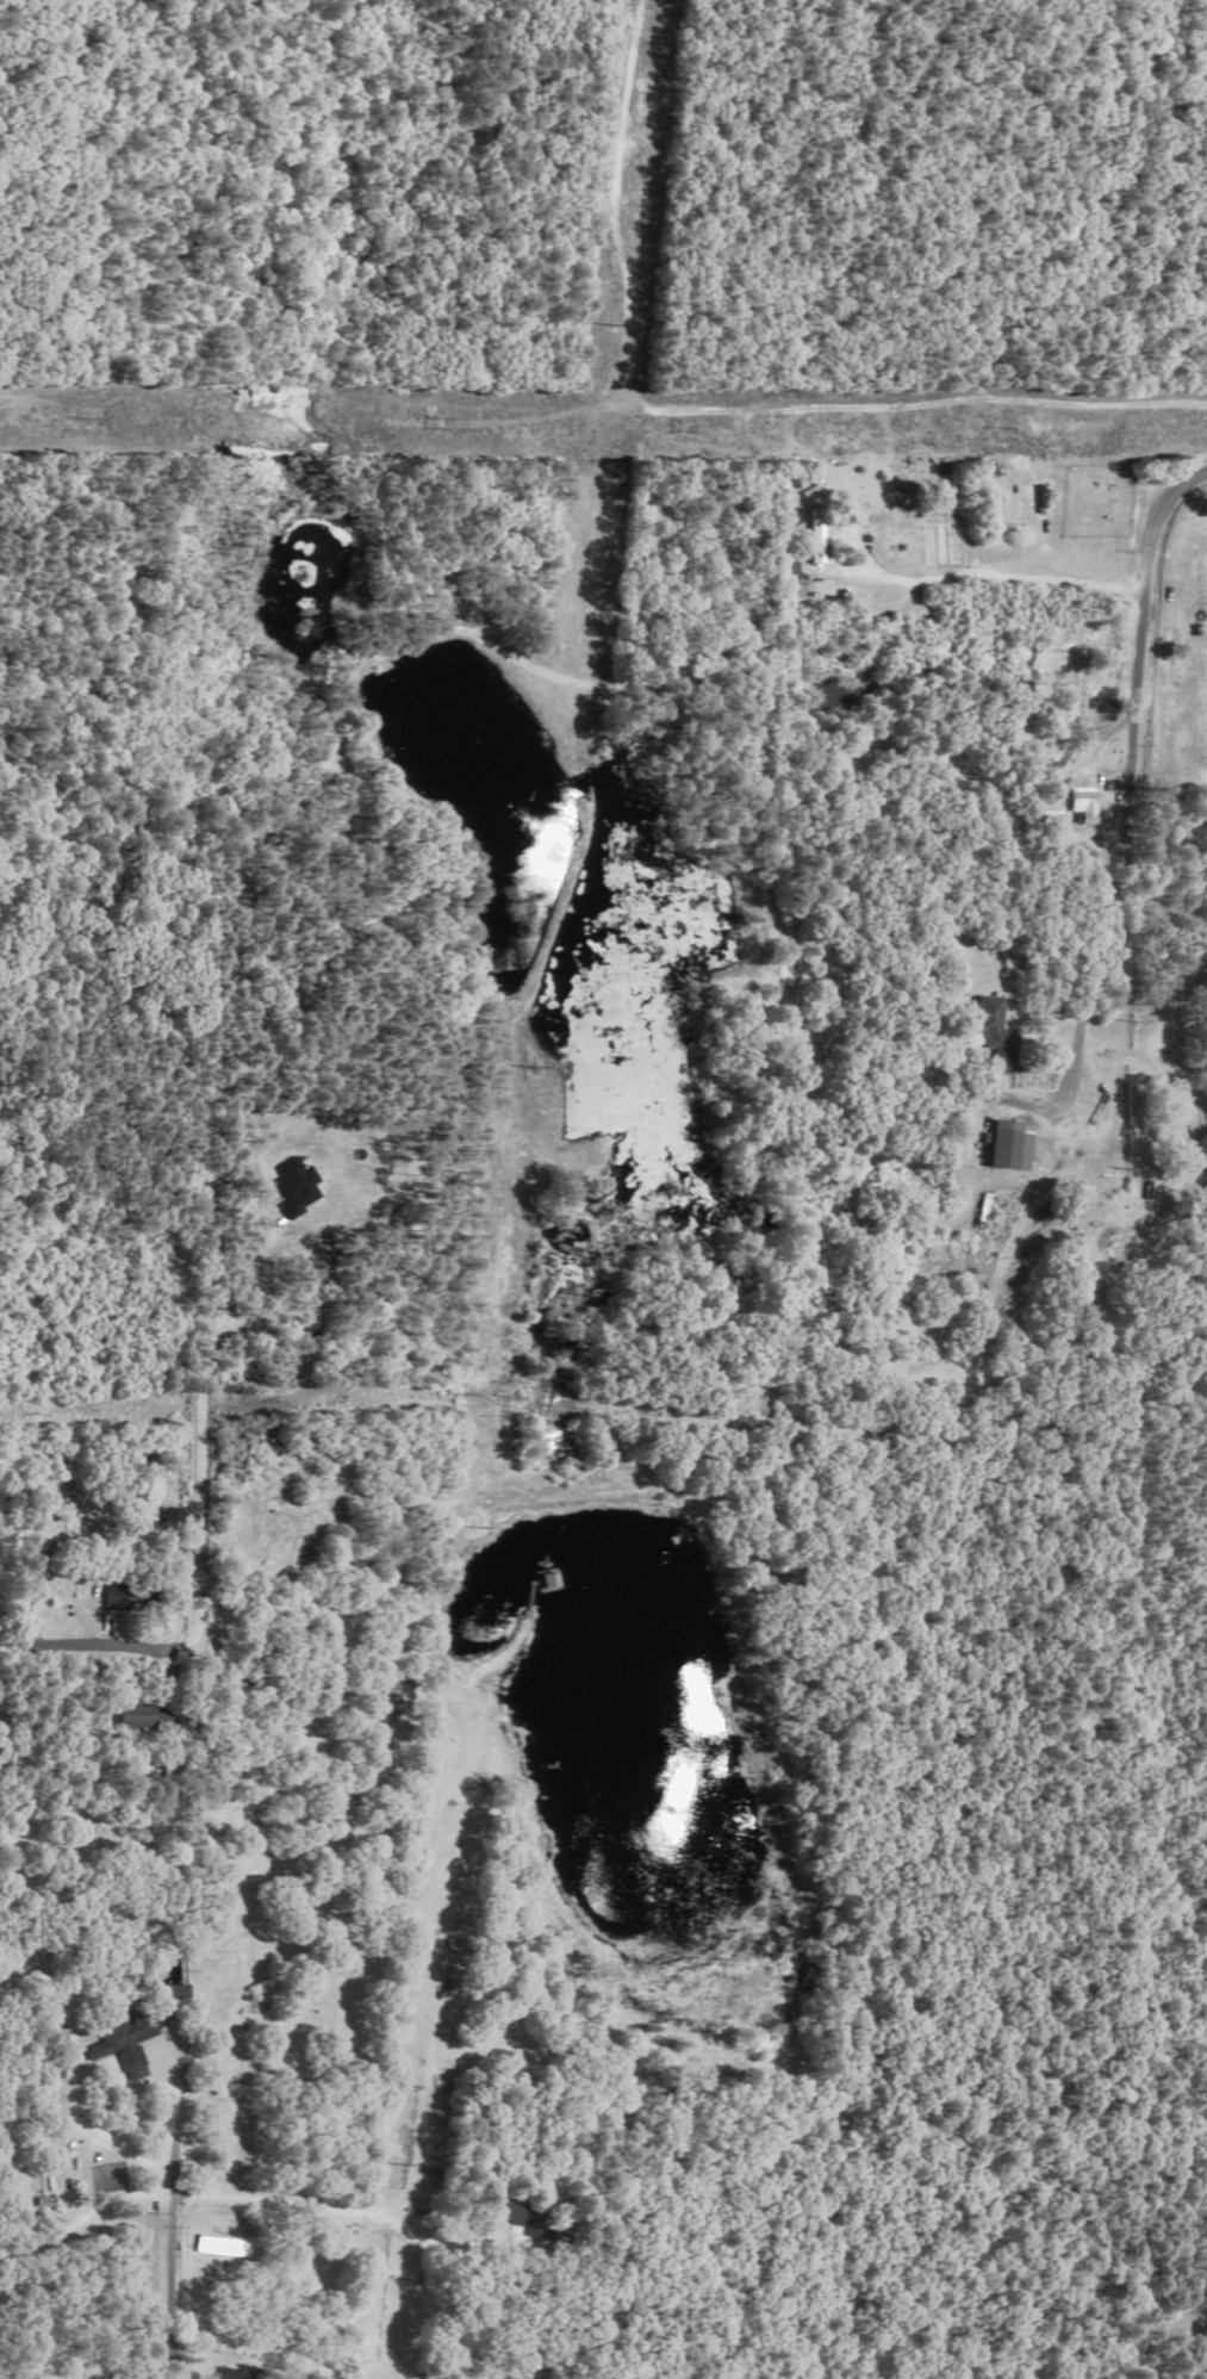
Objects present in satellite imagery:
building: (819, 535)
road: (1002, 564)
road: (1131, 782)
building: (1087, 806)
building: (994, 1033)
building: (1010, 1147)
building: (300, 1186)
road: (192, 1437)
building: (116, 1597)
road: (82, 1653)
building: (137, 1715)
building: (135, 2029)
road: (83, 2217)
road: (172, 2219)
building: (243, 2373)

